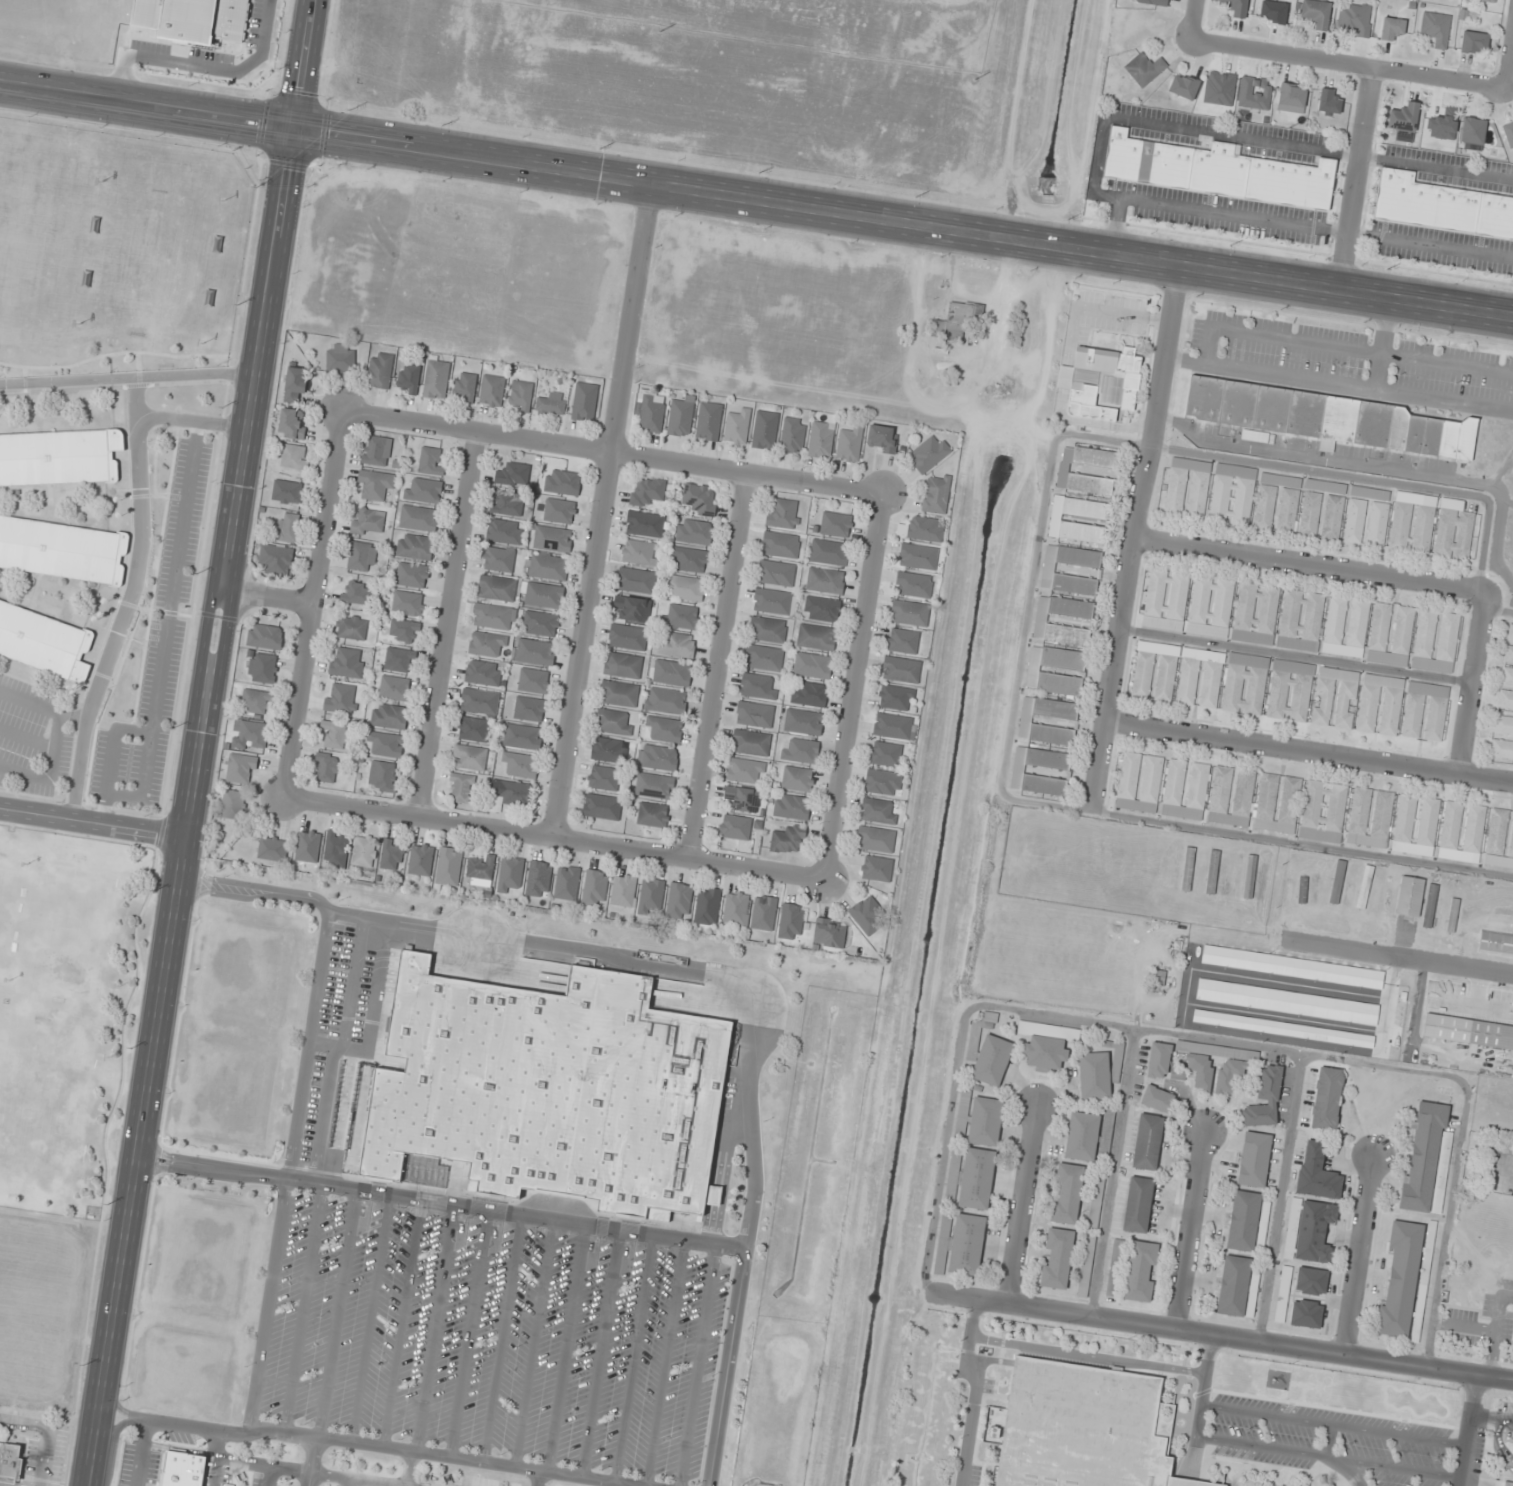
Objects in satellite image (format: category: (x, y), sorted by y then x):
building: (1487, 1)
building: (1152, 2)
building: (1235, 7)
building: (1273, 12)
building: (1316, 14)
building: (1354, 19)
road: (1194, 21)
building: (1392, 28)
building: (1436, 28)
building: (1474, 42)
road: (1508, 58)
road: (1347, 64)
building: (1144, 69)
building: (1183, 86)
building: (1255, 93)
building: (1292, 97)
building: (1329, 102)
building: (1404, 121)
traffic signals: (298, 129)
building: (1473, 131)
building: (1215, 171)
road: (1358, 179)
road: (756, 200)
building: (1440, 207)
park: (28, 239)
park: (155, 251)
park: (115, 252)
road: (1004, 277)
road: (1050, 292)
building: (956, 321)
road: (114, 353)
building: (340, 358)
road: (976, 359)
road: (1047, 362)
road: (1012, 364)
building: (380, 370)
road: (129, 377)
building: (408, 378)
building: (436, 378)
building: (295, 383)
building: (464, 387)
building: (1085, 389)
building: (492, 391)
building: (521, 396)
building: (584, 402)
building: (551, 404)
building: (650, 412)
building: (681, 417)
building: (1328, 418)
road: (194, 421)
building: (709, 421)
building: (292, 423)
building: (737, 427)
building: (765, 429)
building: (793, 435)
building: (882, 438)
building: (821, 439)
building: (850, 444)
building: (376, 450)
road: (614, 452)
building: (929, 453)
building: (295, 456)
building: (59, 457)
building: (431, 460)
building: (1064, 470)
building: (513, 475)
road: (1363, 478)
building: (562, 482)
building: (375, 485)
building: (1325, 486)
building: (1188, 488)
building: (287, 491)
building: (423, 491)
building: (647, 491)
building: (936, 494)
building: (1233, 494)
building: (700, 499)
building: (507, 504)
building: (1289, 506)
road: (604, 510)
building: (559, 511)
building: (1375, 512)
building: (783, 513)
building: (1310, 513)
building: (1333, 517)
building: (418, 518)
building: (1078, 519)
building: (1355, 520)
building: (368, 522)
building: (1412, 522)
building: (645, 524)
building: (835, 524)
building: (289, 527)
building: (923, 529)
building: (1454, 530)
building: (504, 531)
building: (694, 531)
road: (1130, 536)
building: (551, 538)
building: (780, 545)
building: (414, 546)
building: (62, 550)
building: (638, 552)
building: (829, 552)
building: (361, 555)
building: (918, 556)
building: (275, 558)
building: (498, 558)
building: (689, 559)
road: (1306, 563)
building: (546, 566)
building: (1049, 570)
building: (776, 572)
building: (411, 575)
building: (636, 580)
building: (825, 580)
building: (914, 585)
building: (684, 587)
building: (497, 588)
building: (357, 593)
building: (542, 595)
road: (268, 599)
road: (128, 600)
building: (1166, 600)
building: (772, 601)
road: (311, 603)
building: (407, 603)
building: (1211, 607)
building: (632, 608)
building: (822, 609)
building: (909, 613)
building: (1256, 614)
building: (492, 616)
building: (680, 617)
building: (1041, 621)
building: (1301, 621)
building: (540, 623)
road: (451, 624)
road: (168, 626)
building: (351, 627)
building: (1346, 627)
building: (767, 629)
building: (1380, 629)
building: (404, 630)
building: (1510, 633)
building: (265, 636)
building: (628, 637)
building: (816, 637)
building: (903, 641)
building: (1436, 641)
building: (43, 642)
building: (488, 644)
parking lot: (157, 645)
building: (677, 645)
building: (534, 652)
building: (1509, 654)
building: (764, 658)
building: (399, 660)
building: (347, 662)
building: (622, 665)
road: (721, 665)
building: (813, 665)
building: (262, 668)
building: (1073, 668)
building: (901, 669)
building: (1155, 671)
building: (672, 672)
building: (483, 673)
building: (1507, 678)
building: (533, 680)
road: (1469, 681)
building: (1211, 682)
building: (1245, 684)
building: (758, 686)
building: (395, 688)
road: (857, 688)
building: (1290, 691)
building: (619, 693)
building: (809, 694)
building: (896, 697)
building: (341, 698)
building: (1335, 698)
building: (1505, 699)
building: (665, 700)
building: (256, 701)
building: (480, 701)
building: (1380, 704)
building: (529, 709)
building: (1425, 711)
building: (755, 714)
building: (389, 716)
building: (803, 721)
building: (1025, 721)
building: (612, 722)
building: (1503, 725)
building: (894, 726)
building: (473, 729)
building: (663, 729)
building: (250, 735)
building: (336, 735)
building: (522, 736)
parking lot: (32, 737)
road: (28, 739)
road: (58, 740)
road: (198, 742)
building: (750, 742)
building: (385, 744)
building: (1502, 749)
building: (609, 750)
building: (801, 750)
road: (1309, 750)
building: (885, 754)
building: (469, 757)
building: (658, 757)
road: (111, 758)
building: (521, 764)
building: (327, 767)
building: (241, 768)
building: (745, 771)
building: (1018, 772)
building: (382, 775)
building: (603, 778)
building: (798, 778)
building: (883, 782)
building: (1139, 782)
building: (655, 786)
building: (461, 787)
building: (1185, 789)
building: (514, 793)
building: (1232, 796)
building: (744, 798)
road: (1033, 802)
building: (1278, 803)
building: (233, 804)
building: (602, 806)
building: (792, 806)
building: (878, 811)
building: (1324, 811)
building: (653, 814)
building: (1370, 817)
road: (90, 821)
building: (1416, 825)
building: (735, 827)
building: (1462, 832)
road: (558, 835)
building: (789, 839)
building: (876, 839)
building: (1499, 840)
building: (308, 846)
building: (273, 848)
building: (335, 849)
building: (364, 851)
building: (392, 854)
building: (421, 859)
building: (448, 866)
building: (877, 868)
building: (480, 871)
building: (1199, 871)
building: (1218, 872)
building: (510, 874)
building: (1237, 875)
building: (1249, 876)
building: (539, 878)
building: (1273, 879)
building: (1290, 880)
building: (566, 884)
building: (1327, 886)
building: (595, 887)
building: (1351, 887)
building: (1363, 889)
building: (623, 890)
building: (1376, 890)
park: (6, 892)
building: (651, 896)
building: (1410, 896)
building: (679, 900)
building: (707, 906)
building: (737, 909)
building: (764, 912)
building: (1452, 913)
building: (867, 914)
building: (1499, 917)
building: (791, 921)
park: (67, 929)
building: (830, 933)
building: (1496, 942)
building: (1446, 945)
road: (587, 950)
road: (1402, 957)
building: (1292, 967)
building: (1159, 977)
road: (352, 982)
park: (63, 992)
building: (1287, 1002)
road: (371, 1013)
building: (990, 1017)
building: (1283, 1028)
building: (1468, 1031)
road: (1211, 1039)
building: (1047, 1044)
building: (992, 1060)
building: (1159, 1060)
building: (1208, 1060)
building: (1230, 1074)
building: (1094, 1076)
building: (550, 1088)
building: (1158, 1099)
building: (1327, 1099)
building: (1264, 1100)
park: (41, 1105)
road: (323, 1115)
building: (985, 1121)
building: (1082, 1136)
building: (1148, 1142)
road: (724, 1144)
building: (1254, 1159)
building: (1427, 1159)
road: (289, 1171)
road: (1112, 1172)
building: (1317, 1172)
building: (977, 1179)
building: (1067, 1194)
road: (1279, 1197)
road: (440, 1201)
building: (1096, 1202)
building: (1138, 1204)
road: (1019, 1207)
building: (1243, 1221)
road: (1189, 1230)
building: (1315, 1231)
building: (967, 1245)
road: (1358, 1256)
building: (1057, 1258)
building: (1086, 1266)
building: (1114, 1269)
building: (1140, 1271)
building: (1400, 1278)
building: (1311, 1281)
building: (1234, 1286)
building: (1283, 1294)
road: (302, 1308)
road: (337, 1313)
building: (1306, 1313)
road: (369, 1318)
road: (401, 1323)
road: (1463, 1327)
road: (435, 1328)
road: (1495, 1331)
road: (469, 1334)
road: (1228, 1337)
road: (502, 1339)
road: (533, 1344)
road: (566, 1349)
road: (599, 1354)
road: (1087, 1355)
road: (632, 1359)
road: (664, 1363)
road: (696, 1365)
road: (727, 1368)
road: (974, 1392)
road: (1200, 1407)
road: (1491, 1417)
road: (23, 1423)
road: (1333, 1424)
building: (1084, 1427)
road: (1467, 1430)
parking lot: (1329, 1441)
road: (361, 1444)
road: (1497, 1445)
road: (178, 1448)
road: (140, 1453)
road: (1328, 1456)
road: (42, 1457)
road: (1332, 1458)
building: (9, 1462)
road: (311, 1462)
building: (182, 1468)
road: (290, 1469)
road: (408, 1469)
road: (211, 1471)
road: (269, 1476)
road: (540, 1479)
road: (349, 1482)
road: (1189, 1482)
building: (1507, 1483)
road: (1470, 1484)

